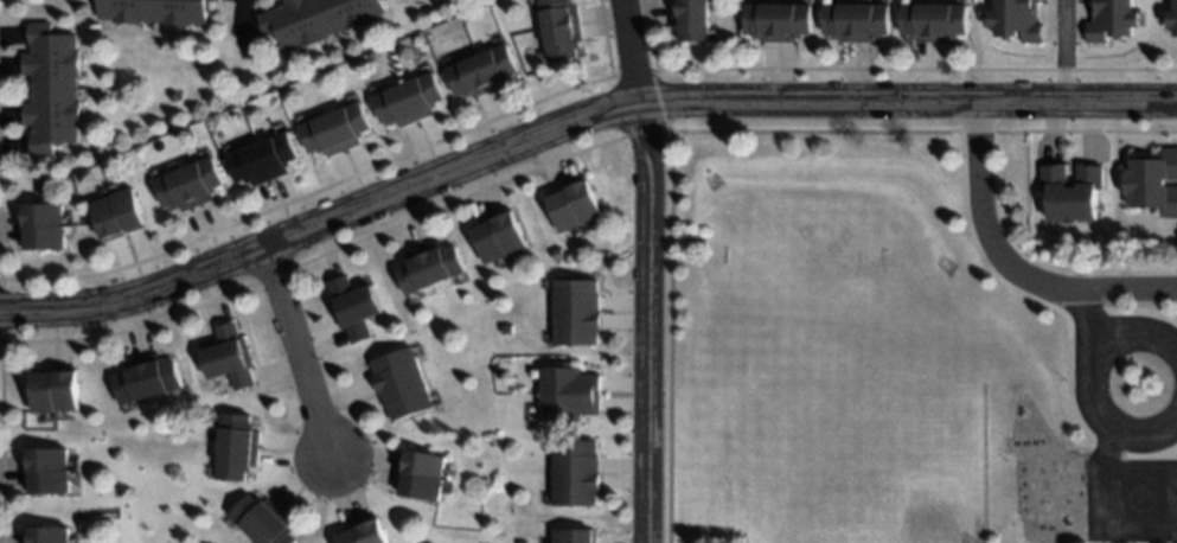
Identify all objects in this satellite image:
building: (153, 9)
building: (313, 18)
building: (687, 18)
building: (1016, 18)
building: (1172, 18)
building: (776, 19)
building: (1112, 19)
building: (856, 20)
building: (934, 20)
building: (558, 27)
road: (1063, 52)
building: (481, 70)
building: (50, 87)
building: (407, 98)
road: (571, 120)
building: (333, 128)
building: (260, 158)
building: (1152, 180)
building: (187, 183)
building: (1070, 187)
building: (571, 204)
building: (117, 212)
building: (41, 222)
building: (498, 234)
building: (428, 264)
road: (1008, 269)
road: (647, 270)
road: (1076, 300)
building: (352, 305)
building: (575, 309)
road: (1124, 337)
road: (292, 353)
building: (228, 356)
building: (146, 377)
building: (398, 382)
building: (53, 389)
building: (567, 391)
road: (1090, 410)
building: (236, 445)
road: (1176, 451)
building: (47, 468)
building: (420, 469)
building: (575, 469)
building: (262, 519)
building: (365, 532)
building: (47, 534)
building: (574, 534)

